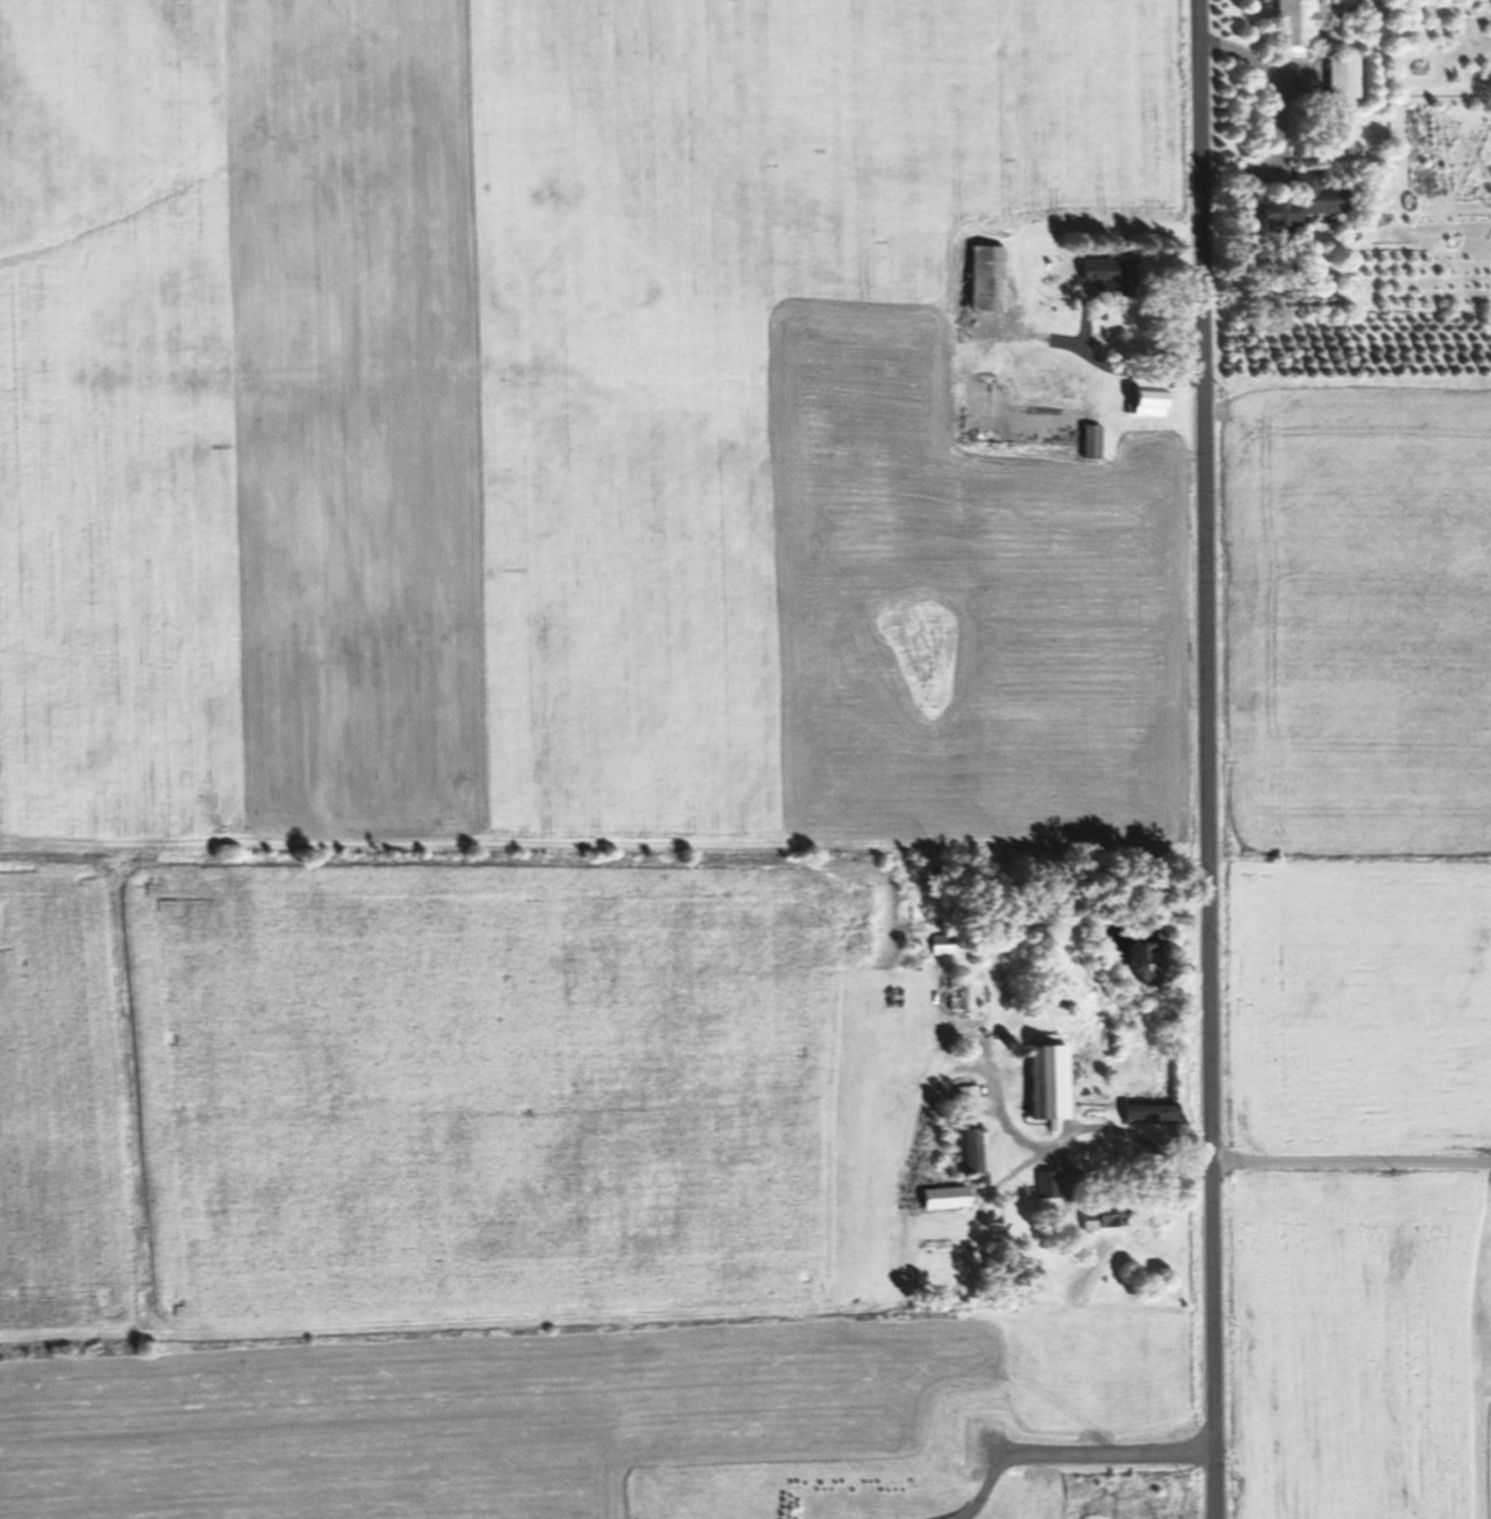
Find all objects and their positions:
building: (1292, 25)
building: (595, 49)
building: (1341, 78)
building: (1300, 201)
building: (604, 238)
building: (1108, 273)
building: (986, 278)
building: (1044, 387)
building: (1147, 402)
building: (1089, 440)
road: (1205, 759)
building: (947, 944)
building: (957, 990)
building: (1045, 1083)
building: (1148, 1112)
building: (965, 1129)
road: (1076, 1135)
road: (1350, 1161)
building: (1044, 1184)
building: (943, 1197)
building: (1101, 1217)
road: (1070, 1455)

